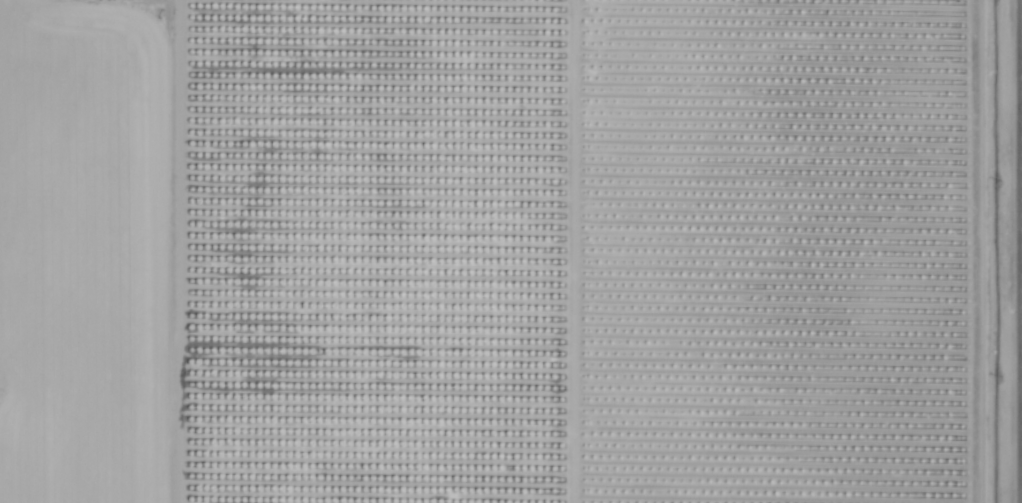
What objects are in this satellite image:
road: (175, 251)
crop: (511, 251)
road: (1021, 251)

